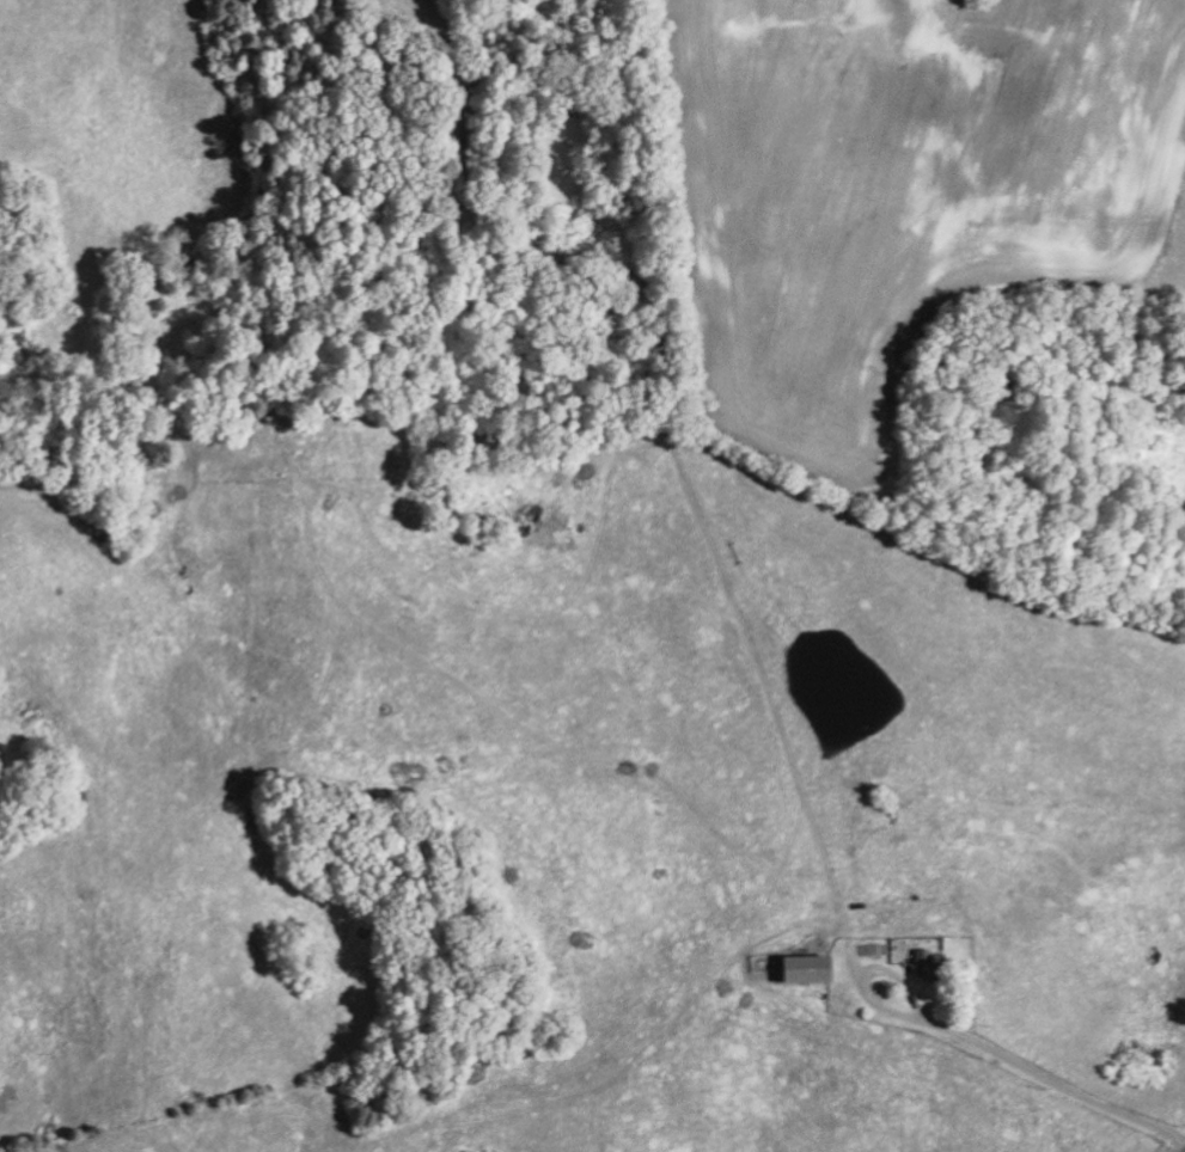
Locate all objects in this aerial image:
building: (921, 962)
building: (802, 968)
road: (1057, 1083)
road: (1184, 1151)

